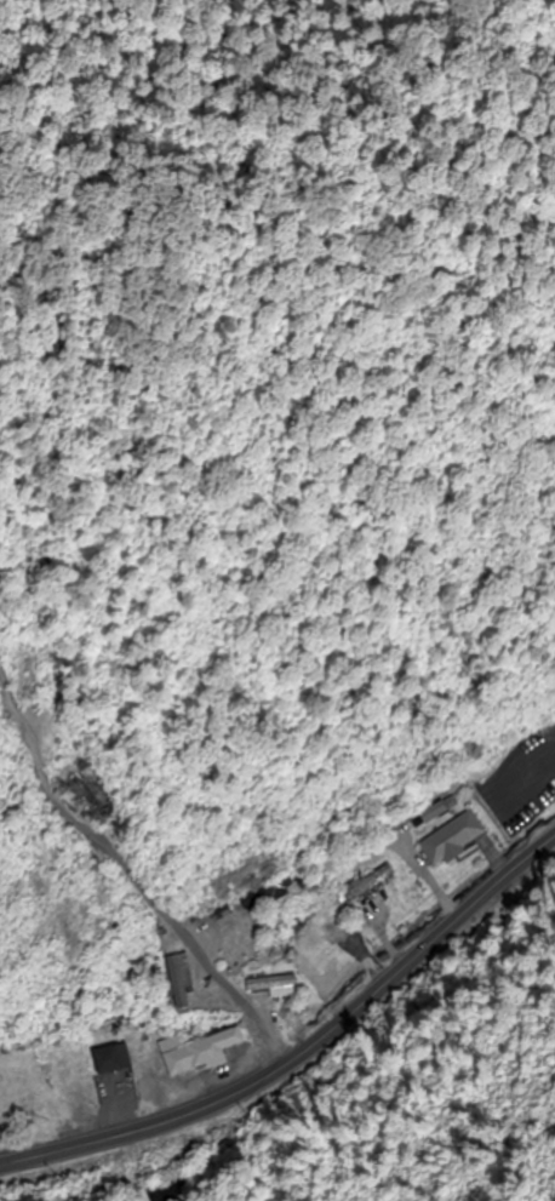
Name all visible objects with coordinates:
building: (27, 677)
road: (33, 745)
building: (450, 840)
building: (367, 885)
building: (261, 894)
building: (217, 914)
road: (187, 937)
building: (92, 940)
building: (267, 984)
building: (176, 993)
building: (194, 1052)
road: (303, 1052)
building: (108, 1060)

